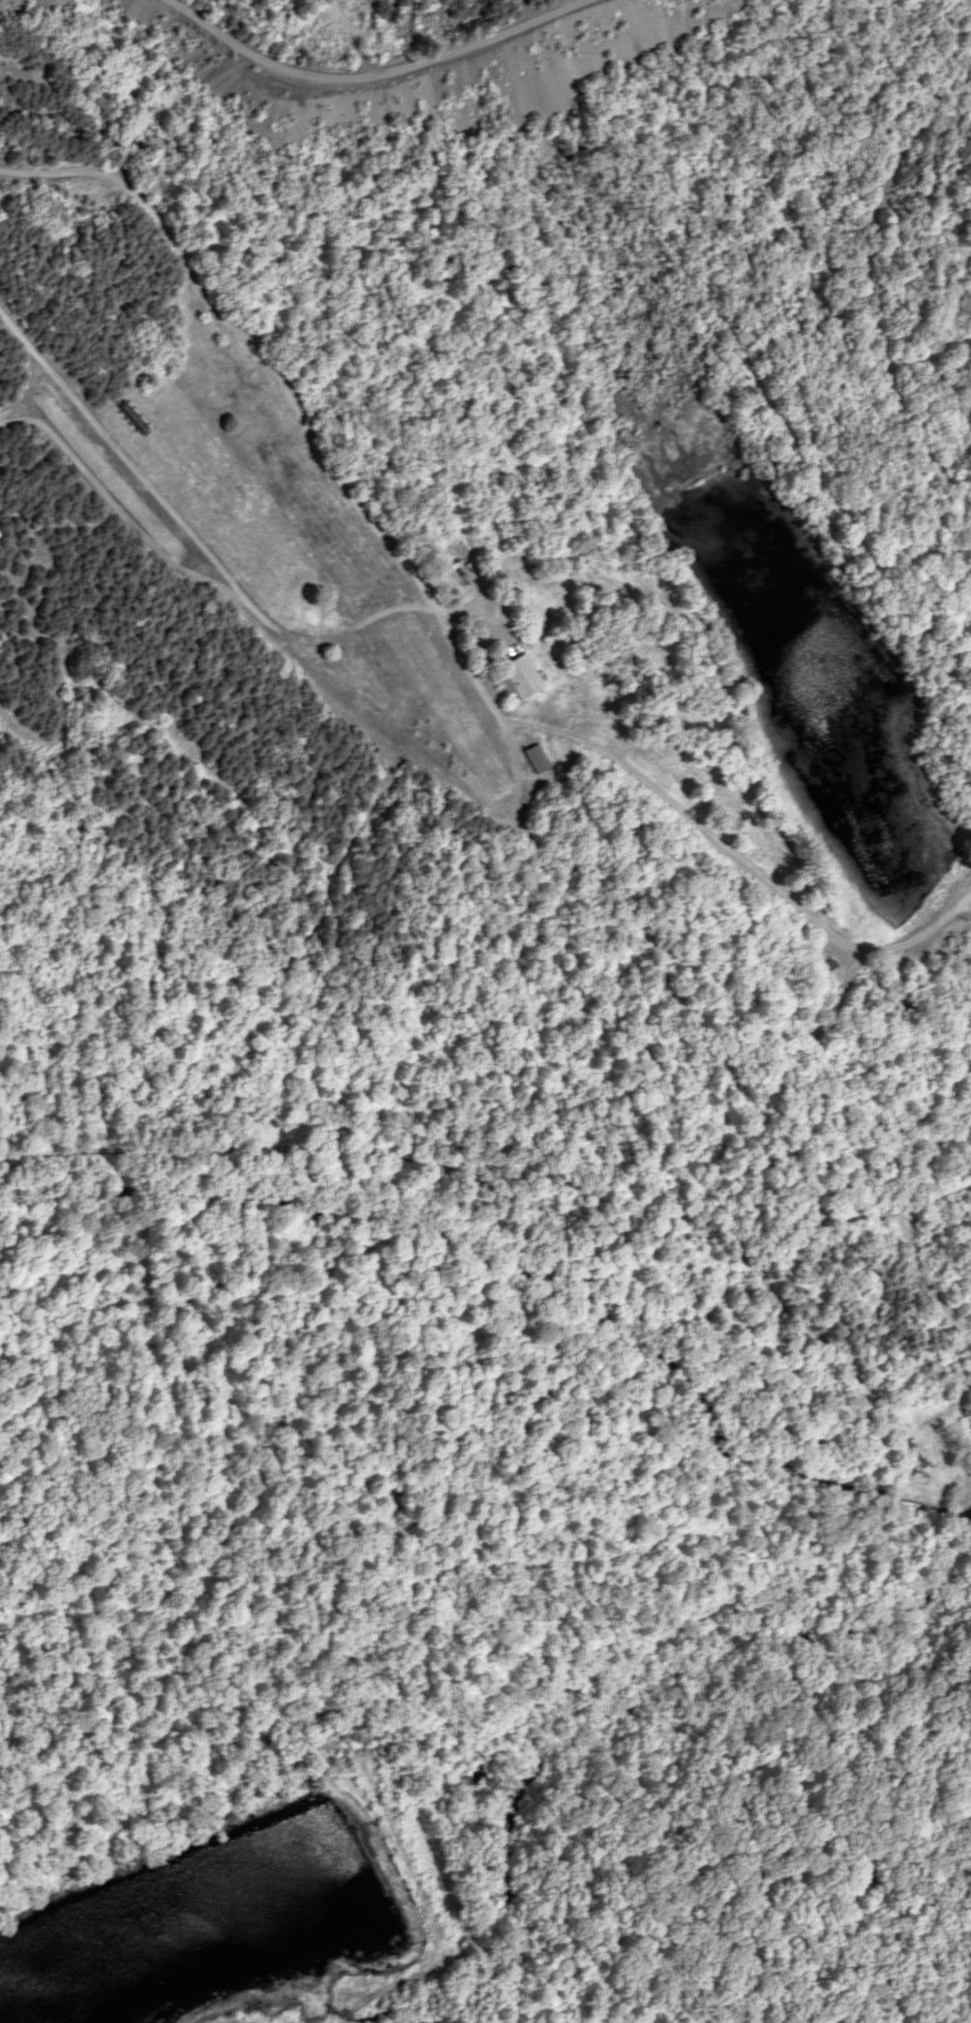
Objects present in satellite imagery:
road: (909, 314)
building: (518, 676)
building: (535, 759)
road: (488, 1150)

